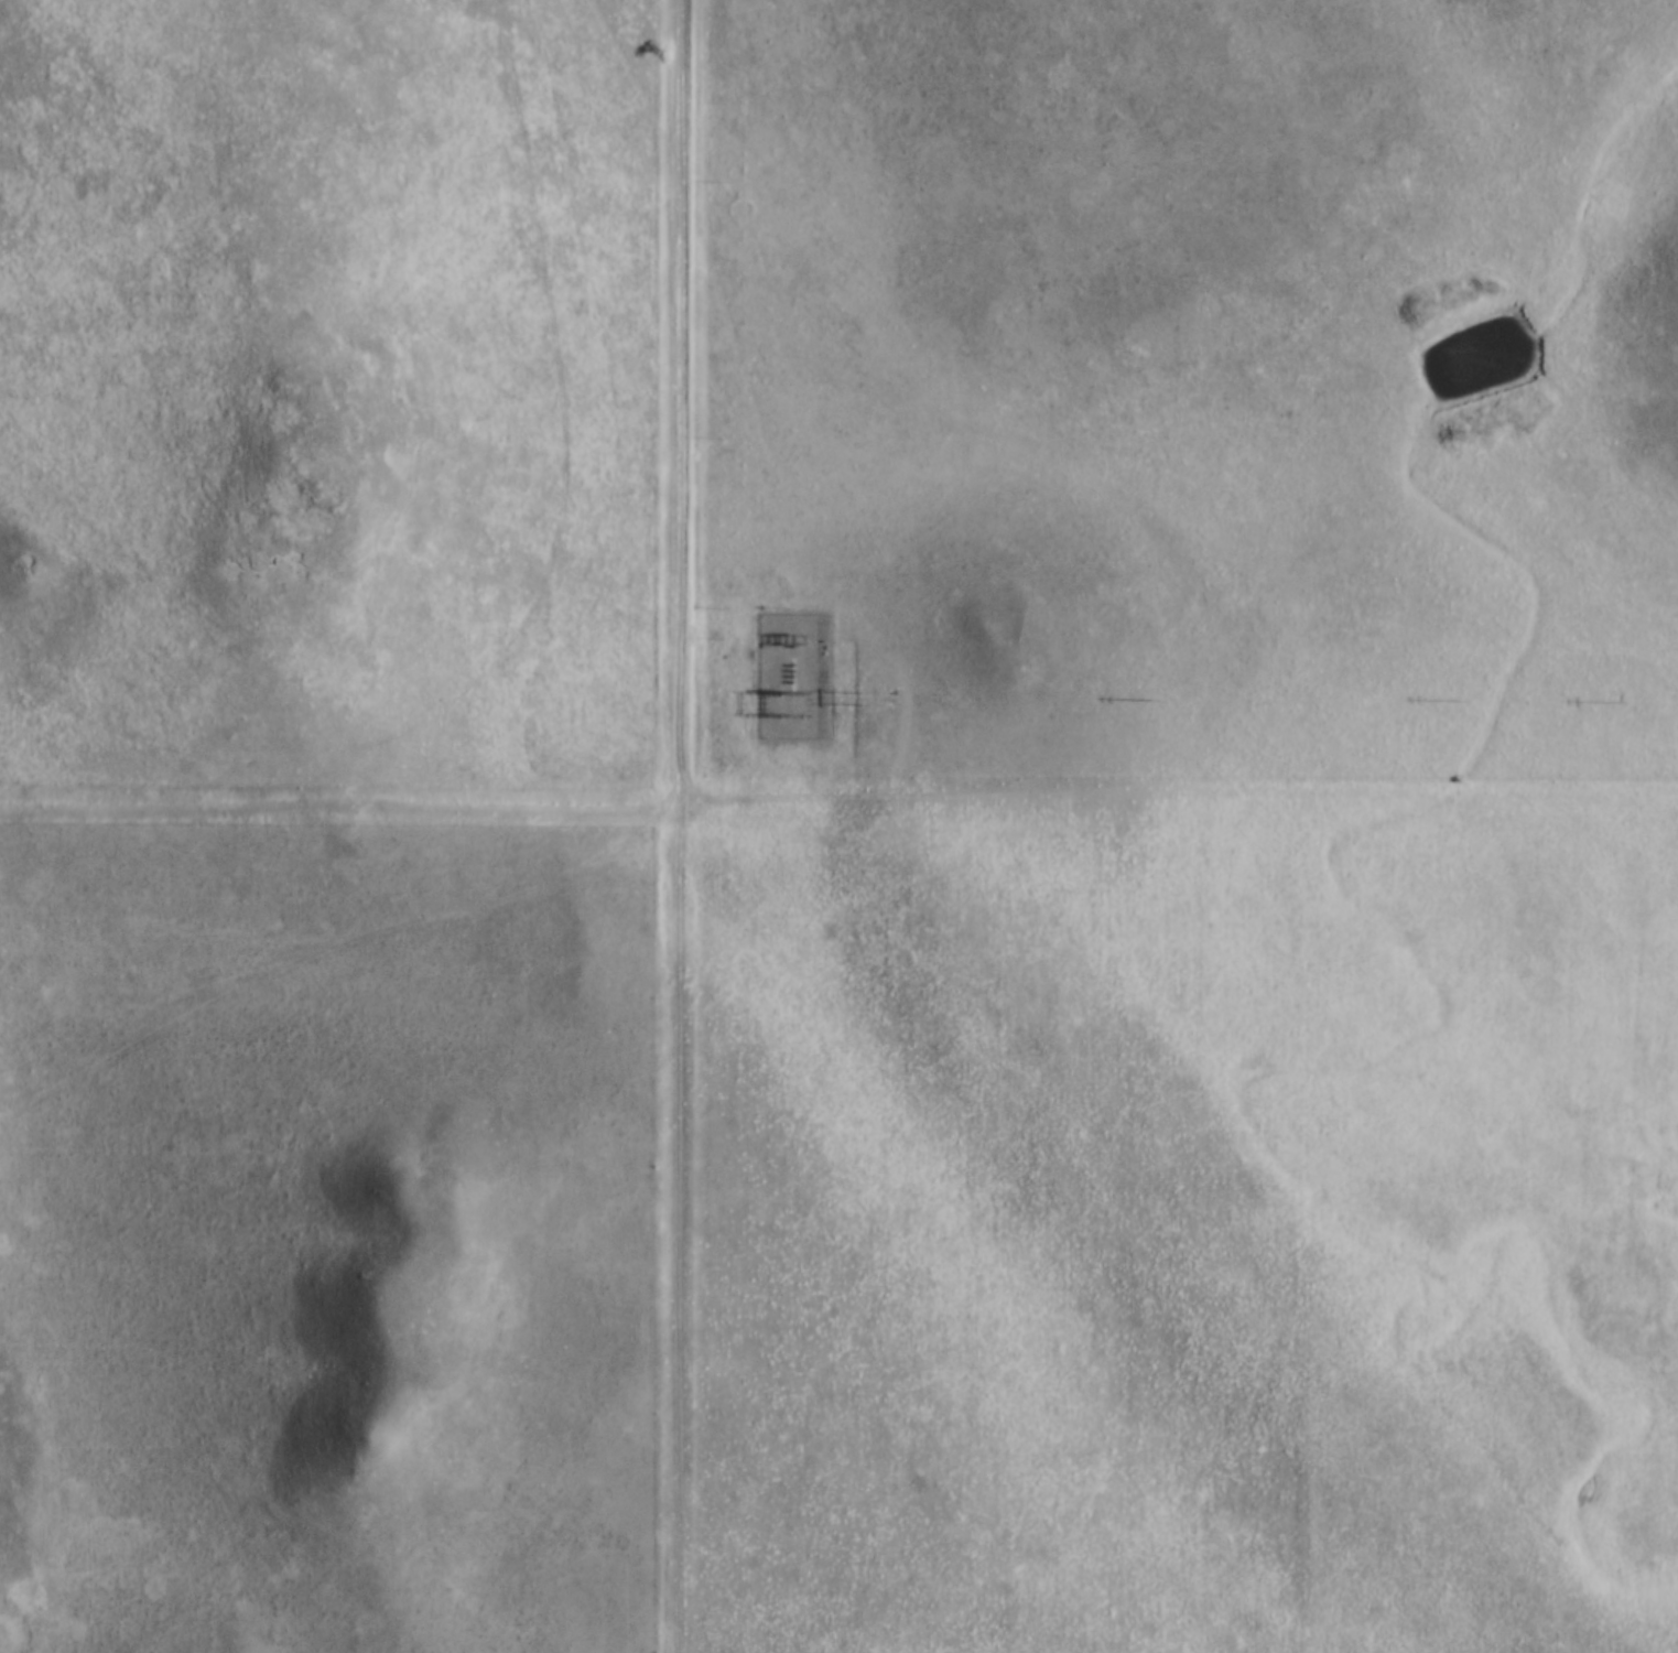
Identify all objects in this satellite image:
power substation: (781, 673)
road: (838, 792)
road: (669, 825)

